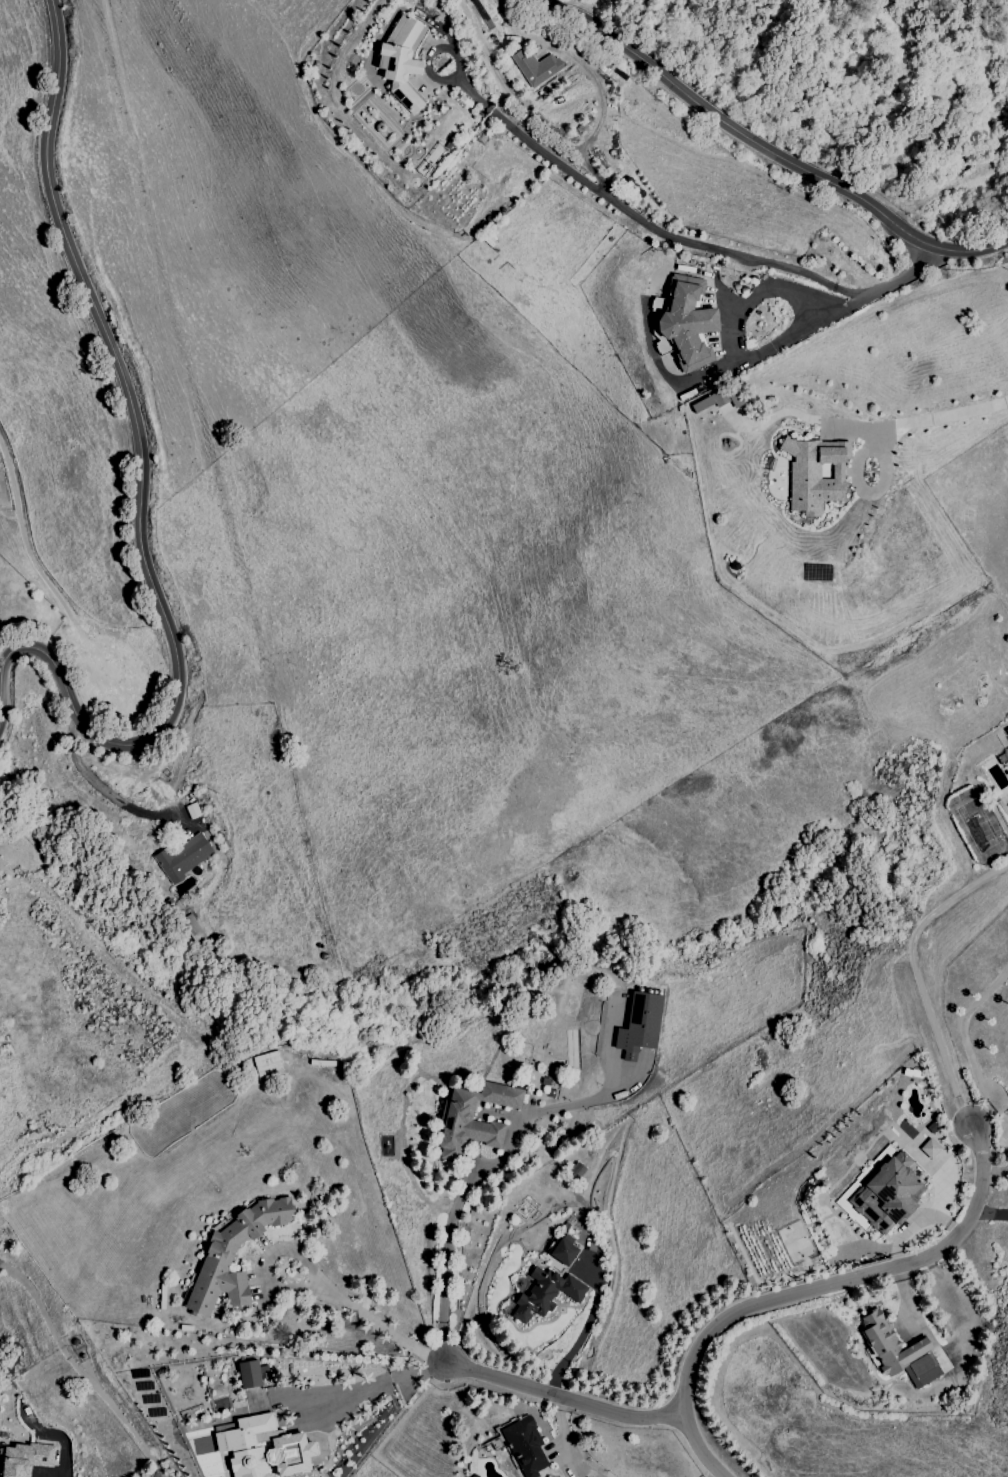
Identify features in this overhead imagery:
building: (401, 61)
building: (535, 67)
road: (602, 113)
road: (766, 149)
road: (673, 235)
road: (757, 295)
building: (687, 322)
road: (733, 362)
building: (716, 400)
road: (930, 423)
building: (815, 473)
road: (140, 499)
building: (183, 857)
road: (918, 975)
building: (639, 1025)
road: (969, 1049)
building: (466, 1122)
building: (929, 1148)
road: (496, 1157)
road: (997, 1171)
building: (887, 1192)
road: (991, 1211)
building: (562, 1252)
building: (233, 1254)
road: (268, 1259)
road: (811, 1286)
building: (544, 1293)
road: (906, 1297)
road: (380, 1326)
road: (583, 1333)
building: (898, 1352)
road: (84, 1366)
building: (253, 1374)
road: (497, 1379)
road: (63, 1443)
building: (265, 1448)
building: (525, 1448)
building: (318, 1461)
road: (164, 1475)

